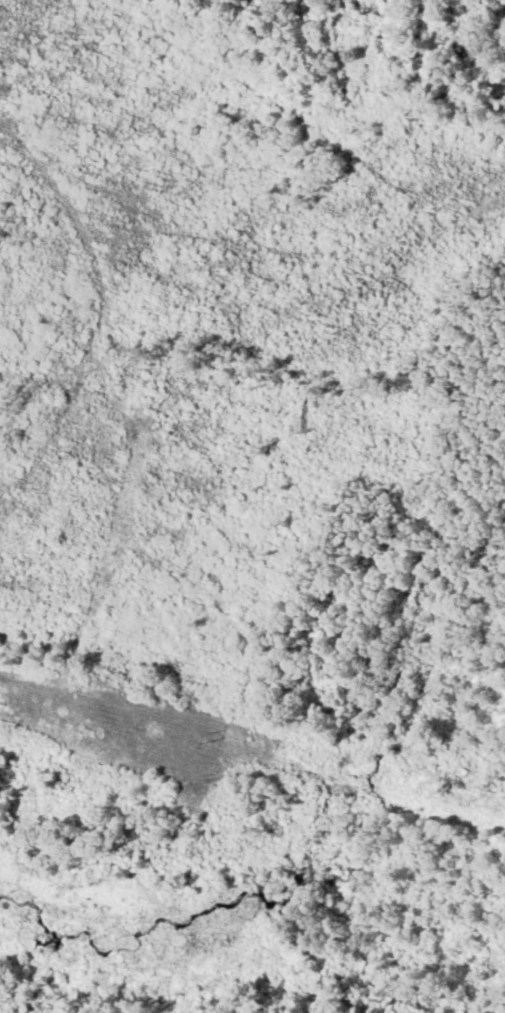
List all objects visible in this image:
power tower: (211, 735)

